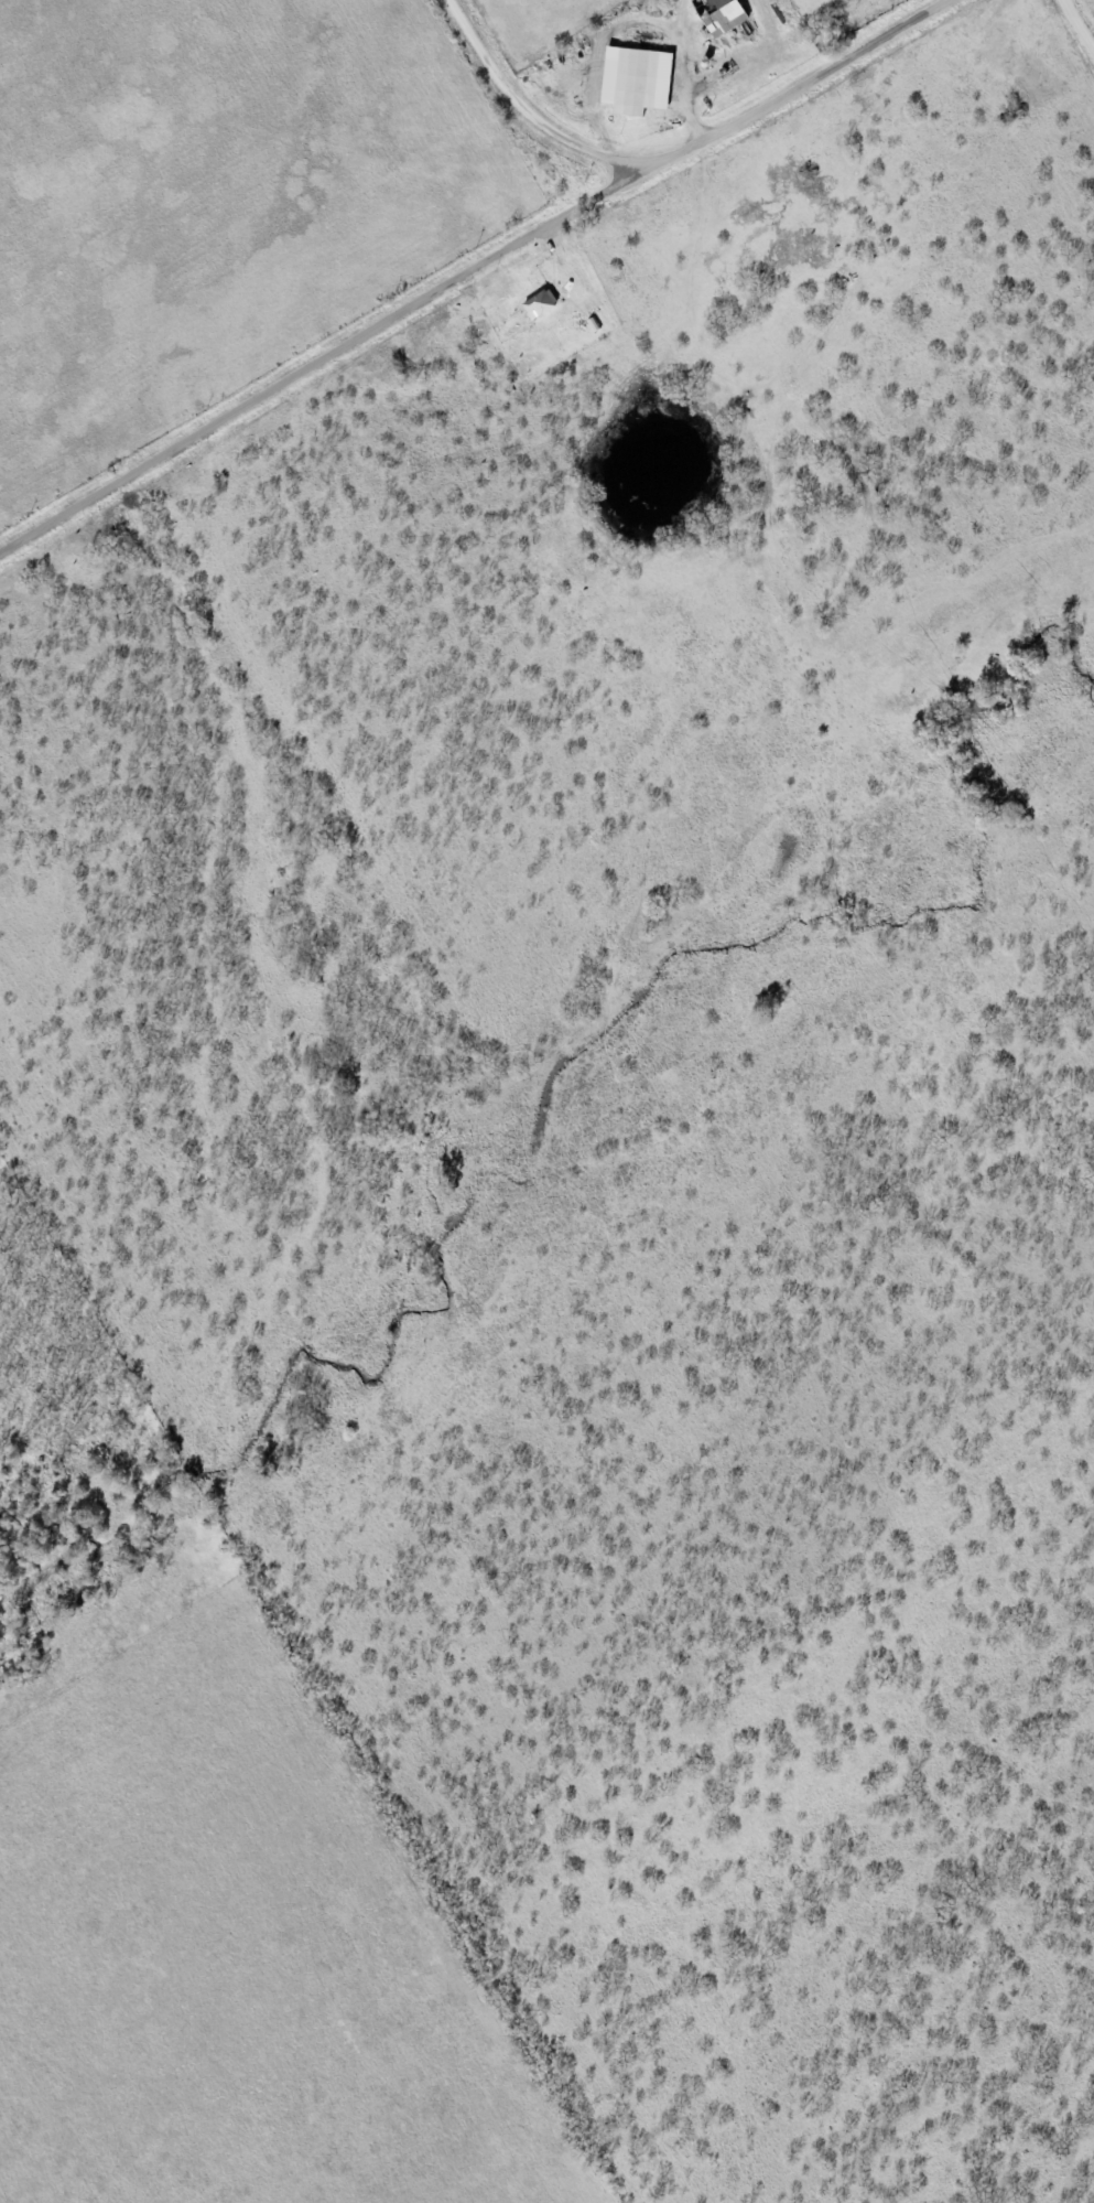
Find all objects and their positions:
building: (726, 14)
road: (1084, 18)
building: (641, 82)
road: (537, 109)
road: (476, 273)
building: (545, 304)

